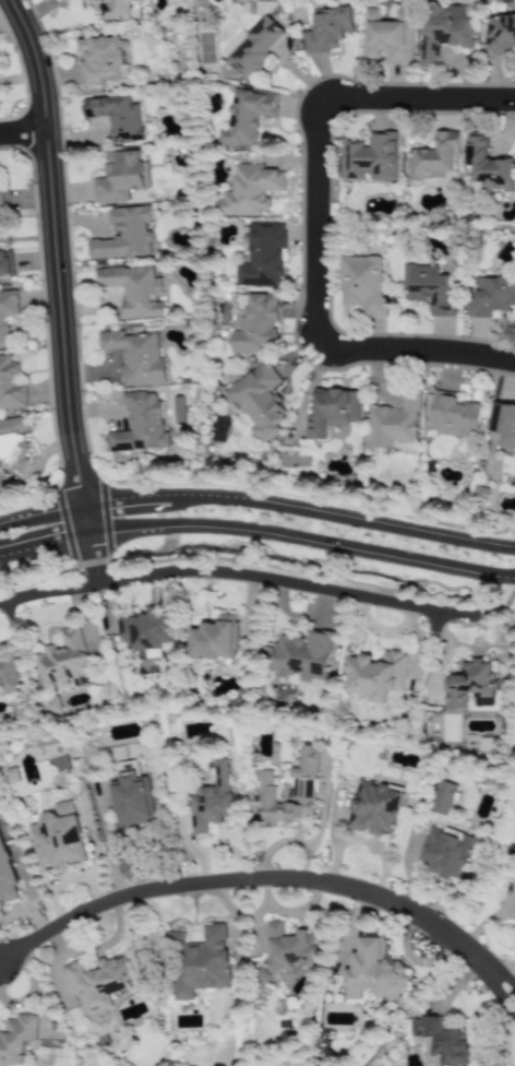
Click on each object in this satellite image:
building: (119, 10)
building: (328, 31)
building: (442, 32)
building: (500, 34)
building: (388, 36)
building: (233, 46)
building: (256, 48)
building: (99, 60)
road: (416, 97)
building: (116, 117)
building: (247, 118)
road: (24, 135)
building: (434, 158)
building: (370, 159)
building: (488, 167)
building: (121, 176)
building: (249, 190)
building: (0, 204)
road: (311, 224)
building: (123, 235)
building: (261, 256)
building: (5, 263)
road: (59, 268)
building: (362, 285)
building: (429, 288)
building: (132, 291)
building: (490, 297)
road: (415, 352)
building: (134, 357)
building: (10, 387)
building: (257, 401)
building: (331, 412)
building: (454, 416)
building: (393, 423)
building: (140, 425)
building: (503, 426)
building: (13, 445)
road: (257, 501)
road: (257, 534)
road: (96, 564)
road: (261, 565)
road: (290, 583)
road: (49, 594)
road: (13, 614)
road: (438, 624)
building: (146, 630)
building: (214, 639)
building: (300, 656)
building: (62, 661)
building: (8, 674)
building: (375, 675)
building: (469, 684)
building: (50, 706)
building: (12, 777)
building: (302, 786)
building: (131, 797)
building: (442, 798)
building: (211, 801)
building: (373, 808)
building: (58, 838)
building: (445, 853)
building: (7, 878)
road: (270, 879)
building: (287, 950)
building: (197, 962)
building: (372, 972)
building: (97, 983)
building: (16, 1040)
building: (441, 1042)

